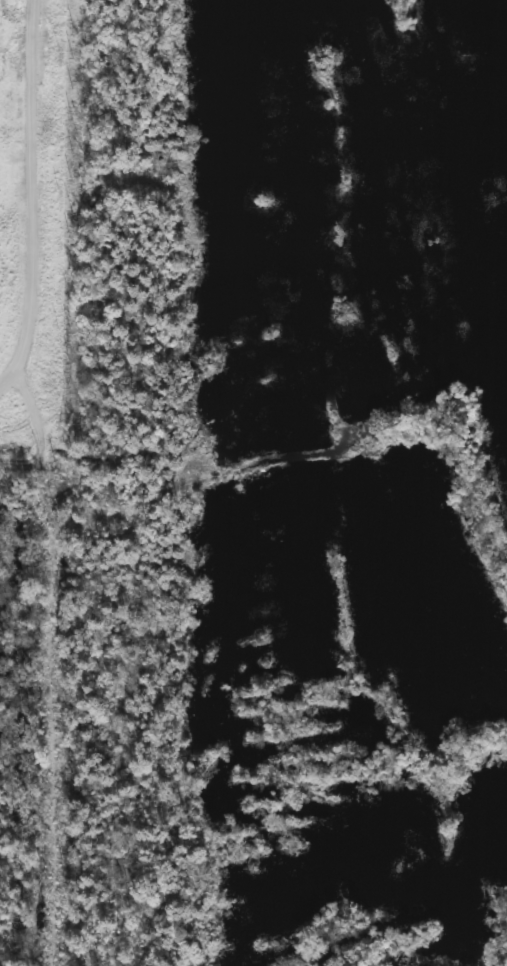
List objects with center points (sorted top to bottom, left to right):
landfill: (38, 233)

